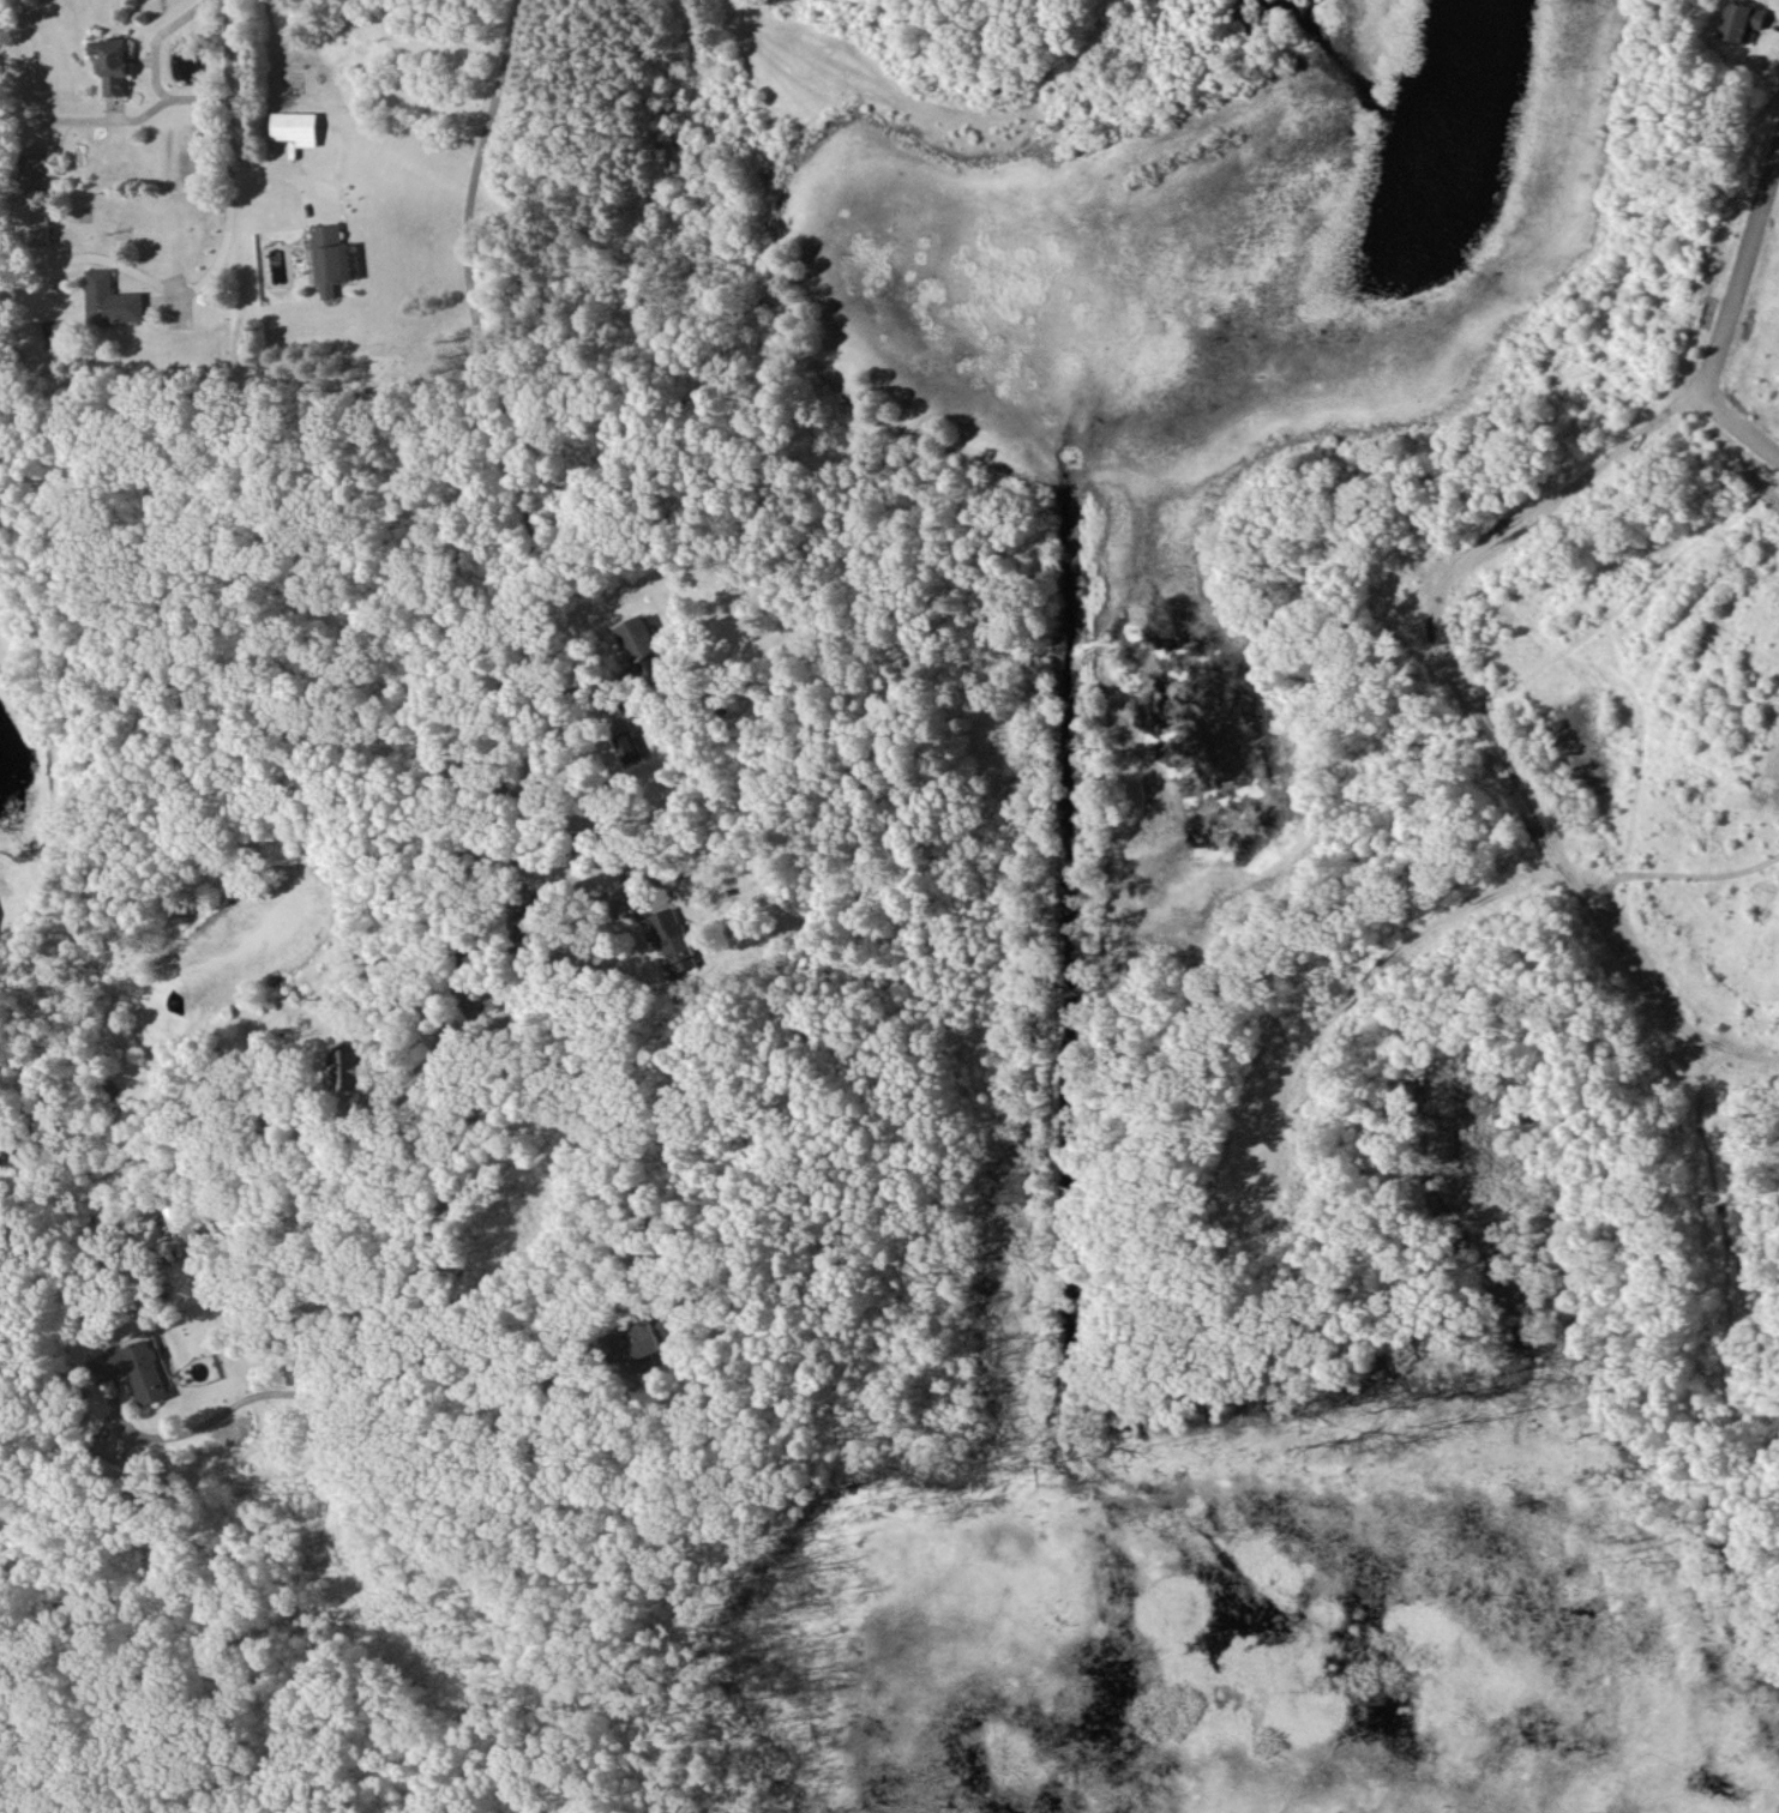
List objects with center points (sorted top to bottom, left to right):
building: (1743, 22)
building: (113, 64)
road: (156, 70)
building: (296, 127)
road: (228, 152)
building: (35, 170)
road: (289, 176)
building: (35, 224)
building: (332, 257)
building: (112, 300)
road: (1726, 306)
building: (58, 335)
building: (644, 646)
road: (567, 686)
building: (630, 747)
road: (501, 785)
road: (583, 899)
building: (675, 939)
road: (456, 1034)
building: (350, 1070)
road: (590, 1090)
building: (187, 1240)
building: (644, 1339)
building: (133, 1369)

